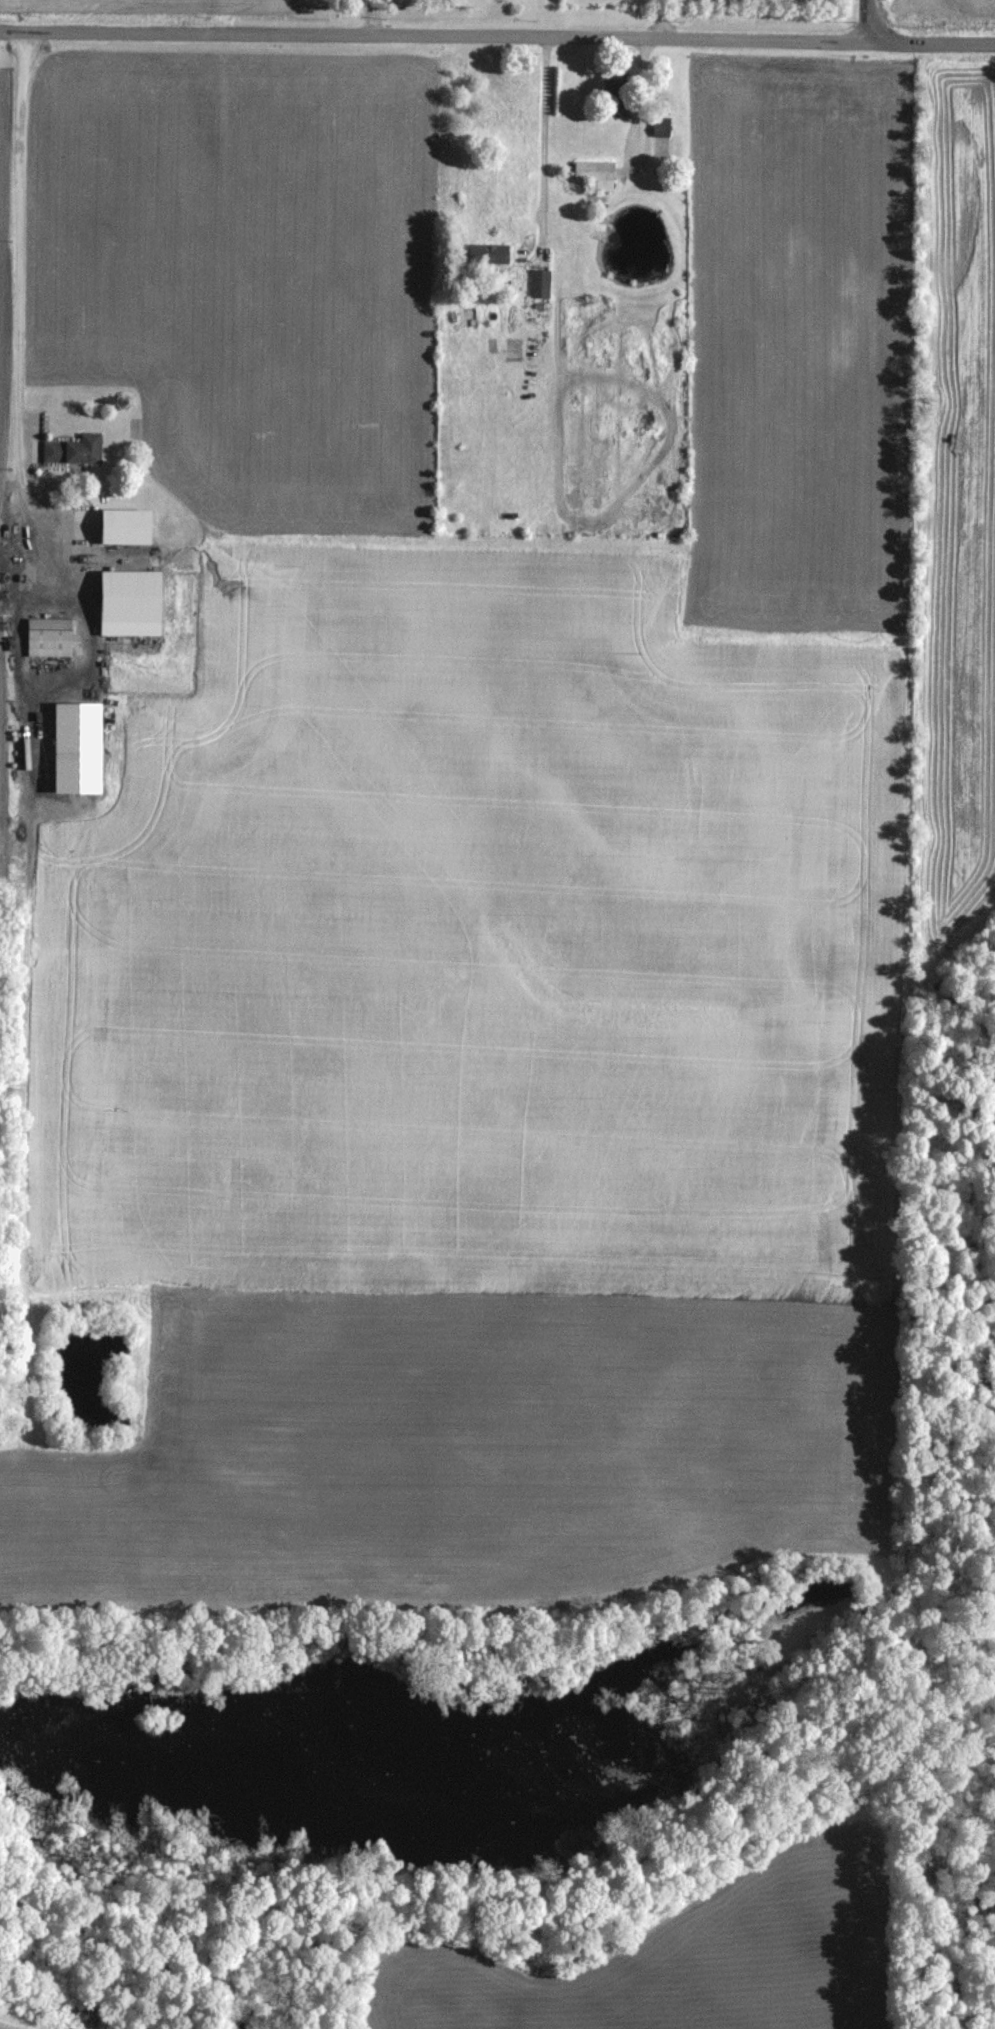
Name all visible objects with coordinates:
road: (870, 20)
road: (434, 36)
road: (932, 41)
building: (609, 86)
building: (657, 127)
road: (545, 140)
building: (592, 174)
building: (485, 253)
road: (20, 254)
building: (536, 284)
building: (69, 450)
building: (119, 527)
building: (124, 603)
building: (43, 637)
building: (70, 747)

